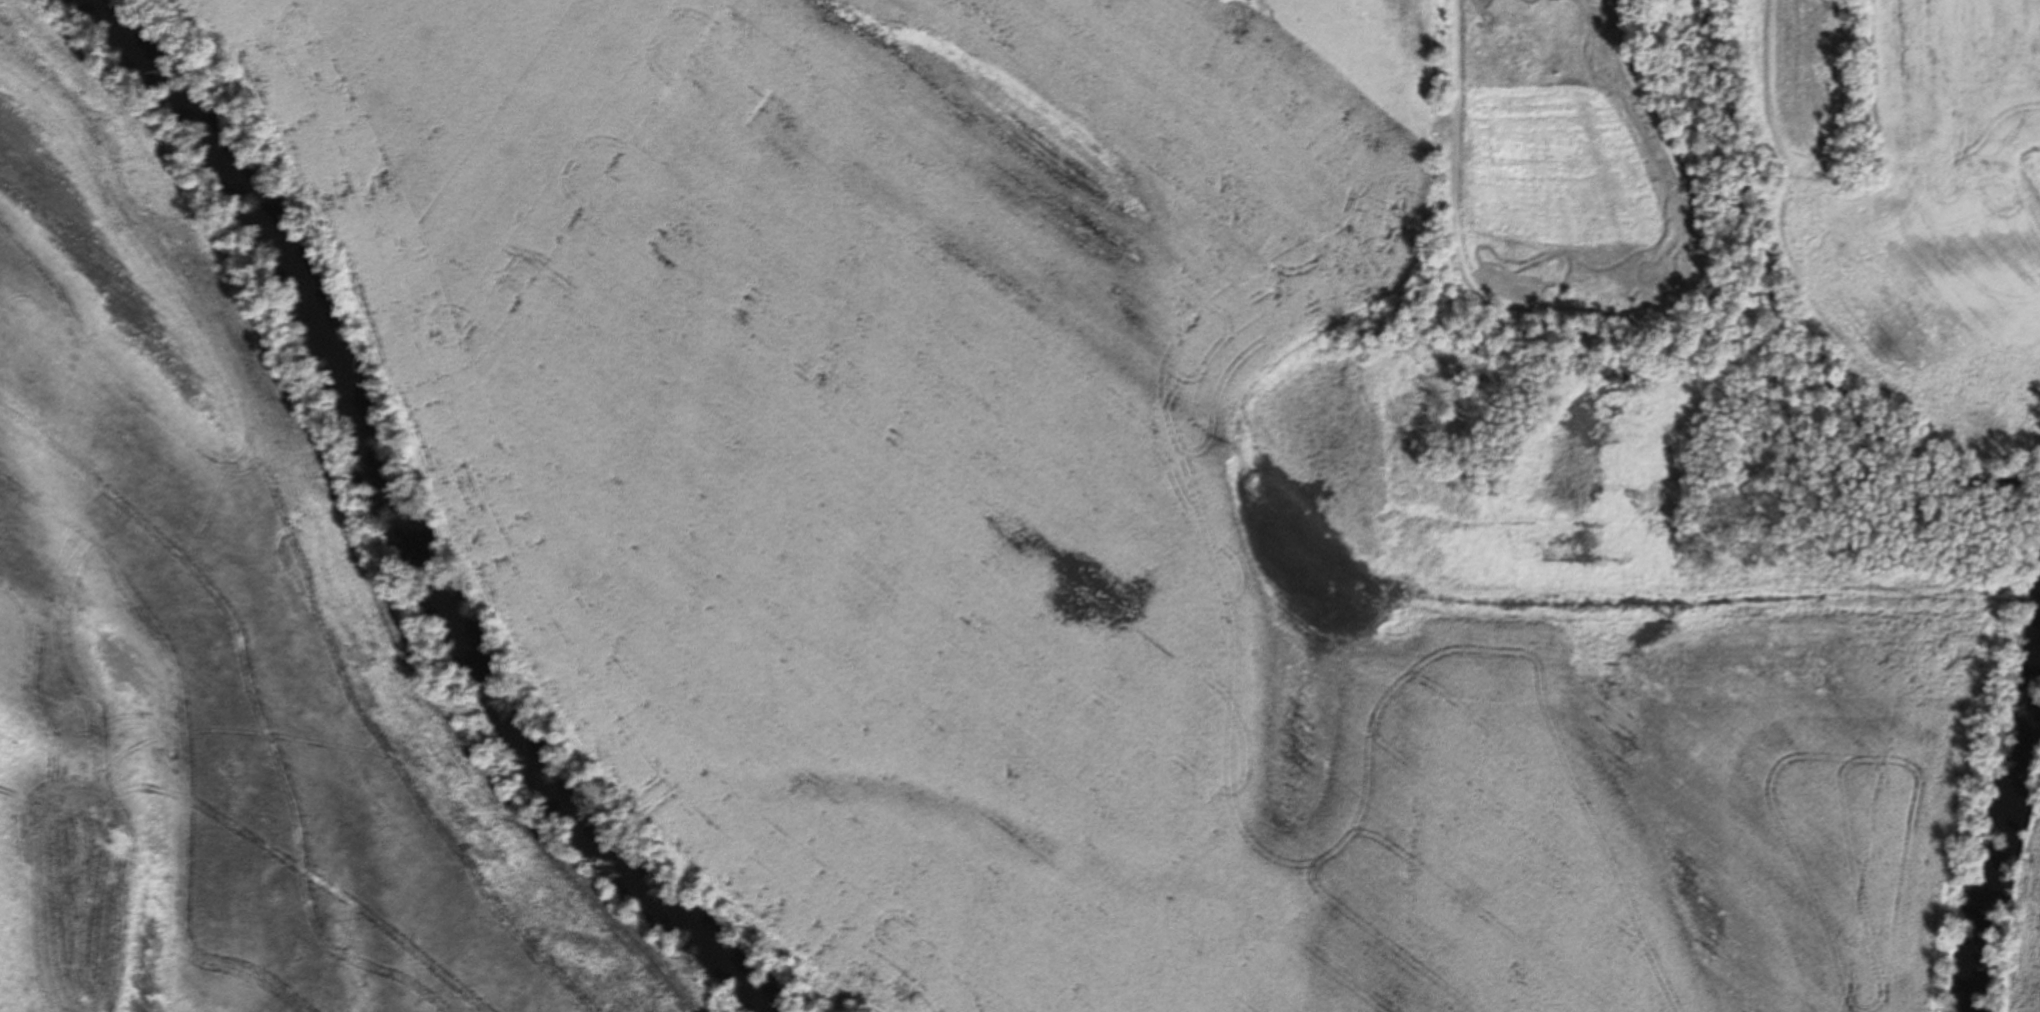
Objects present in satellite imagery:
river: (379, 520)
river: (1999, 800)

